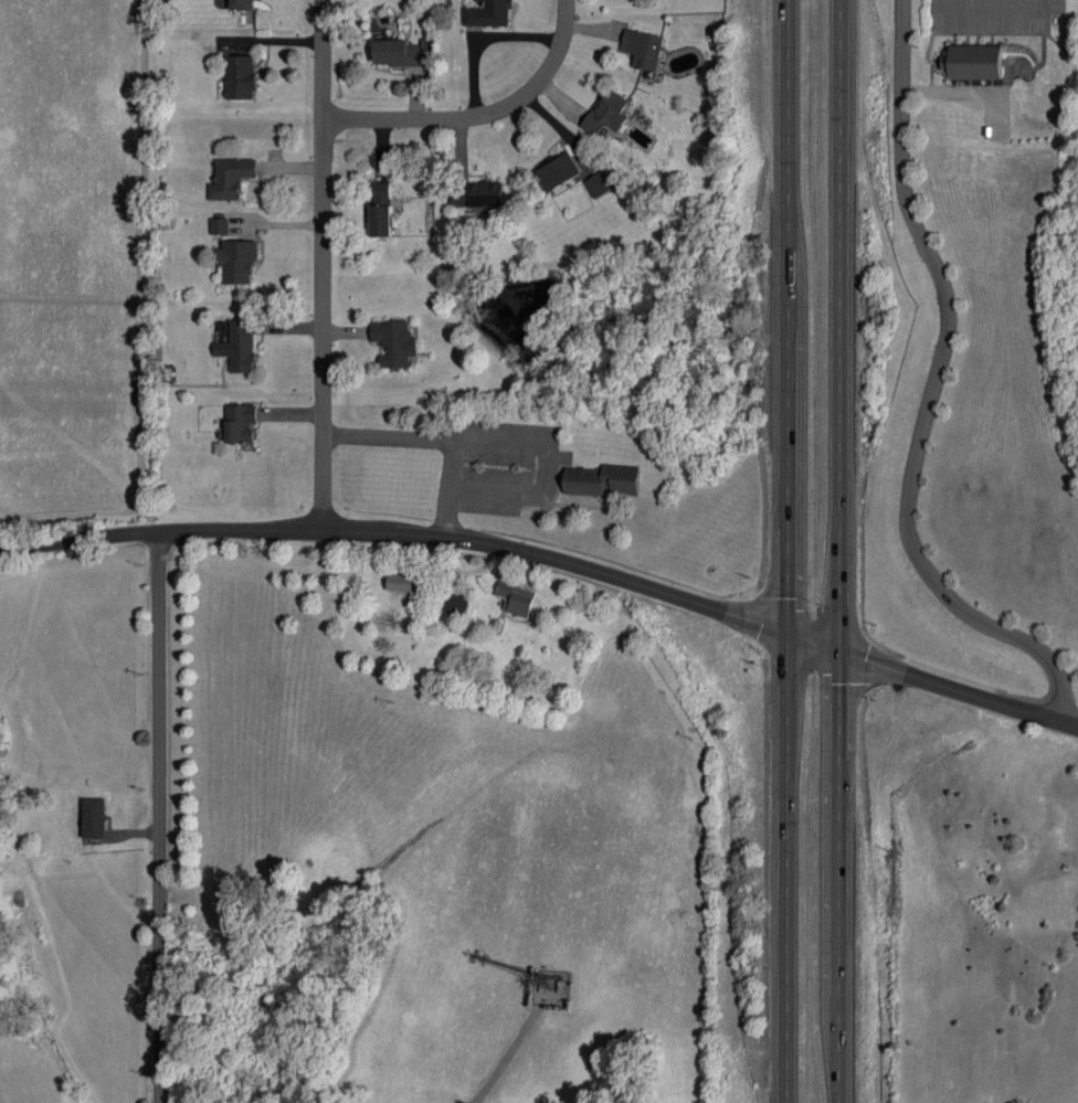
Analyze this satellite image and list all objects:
building: (241, 4)
building: (488, 12)
road: (997, 15)
road: (483, 39)
building: (643, 49)
building: (402, 52)
building: (973, 62)
building: (240, 76)
building: (607, 112)
road: (480, 114)
building: (558, 170)
building: (231, 178)
building: (600, 183)
building: (381, 192)
building: (478, 194)
building: (381, 220)
building: (219, 225)
building: (236, 261)
road: (323, 265)
building: (394, 342)
building: (237, 347)
road: (931, 394)
building: (239, 424)
road: (432, 438)
building: (602, 480)
road: (429, 537)
road: (788, 551)
road: (843, 551)
building: (400, 582)
building: (516, 598)
building: (454, 603)
road: (960, 691)
building: (93, 817)
road: (159, 817)

